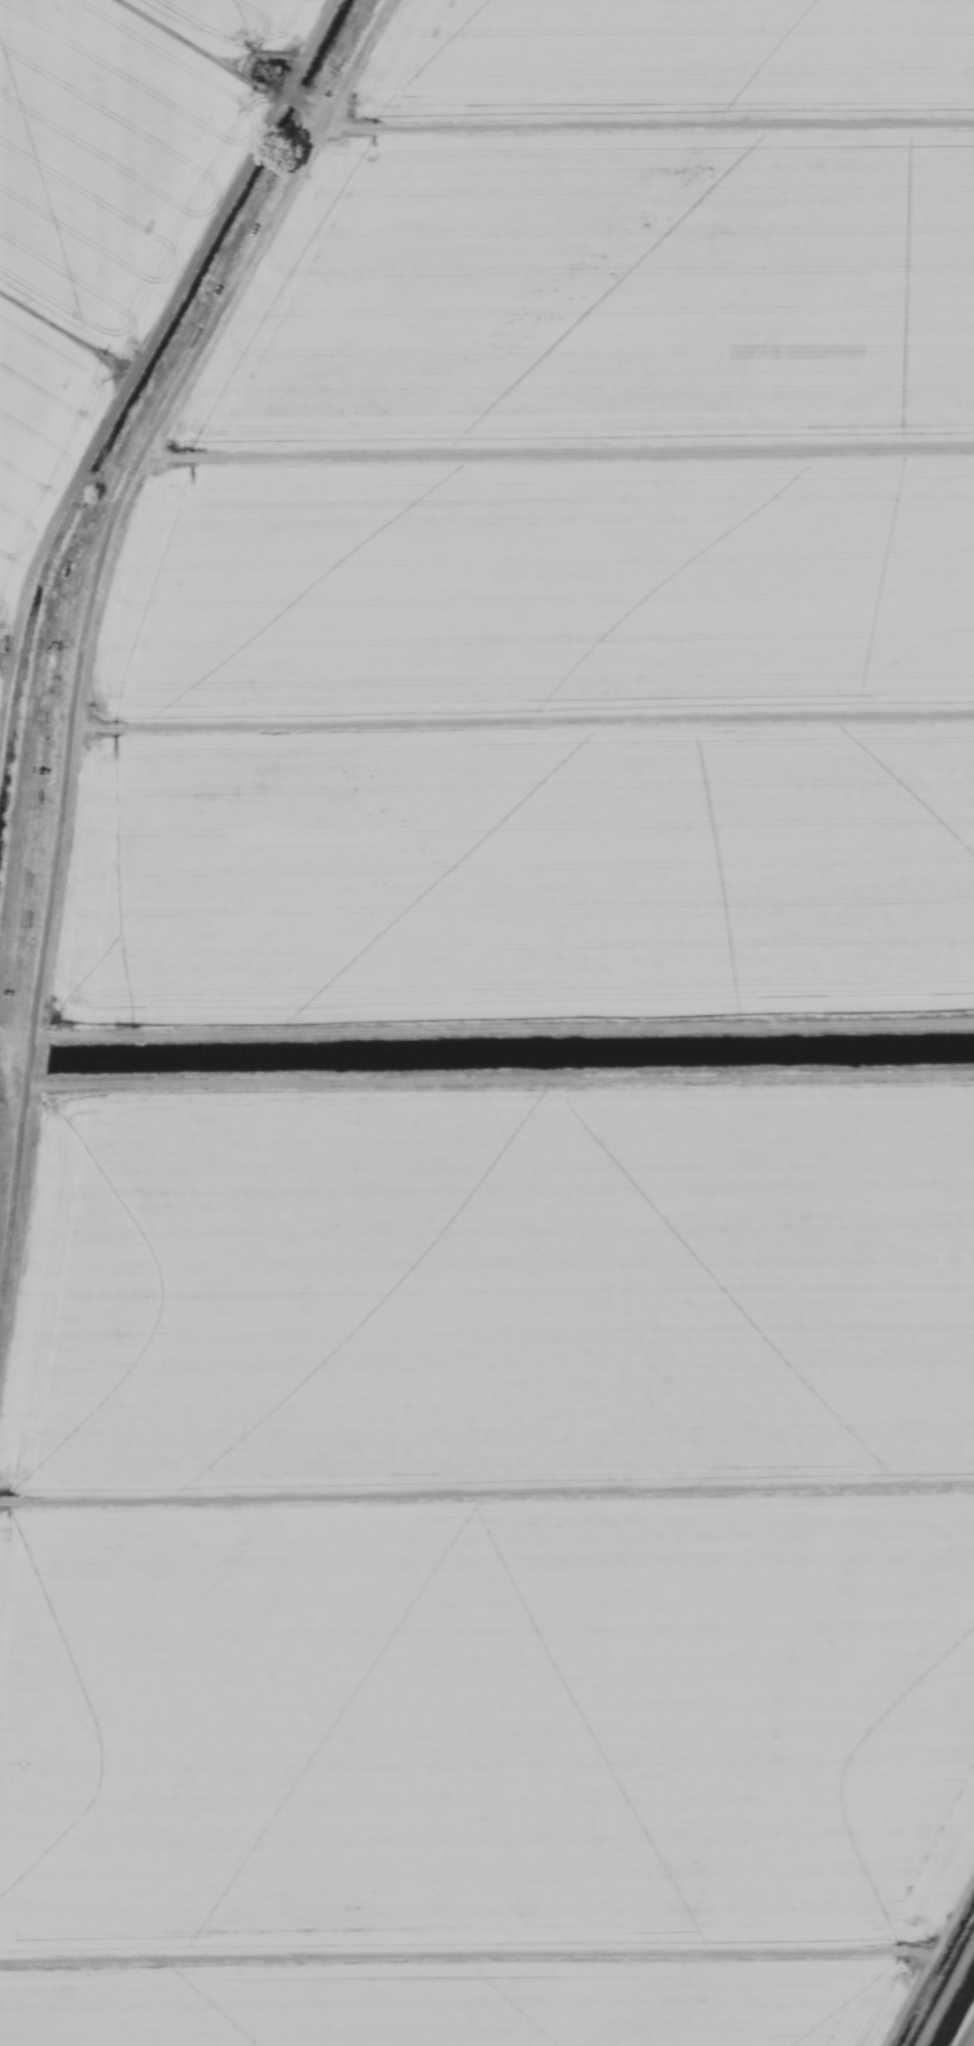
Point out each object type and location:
road: (65, 786)
road: (17, 1026)

